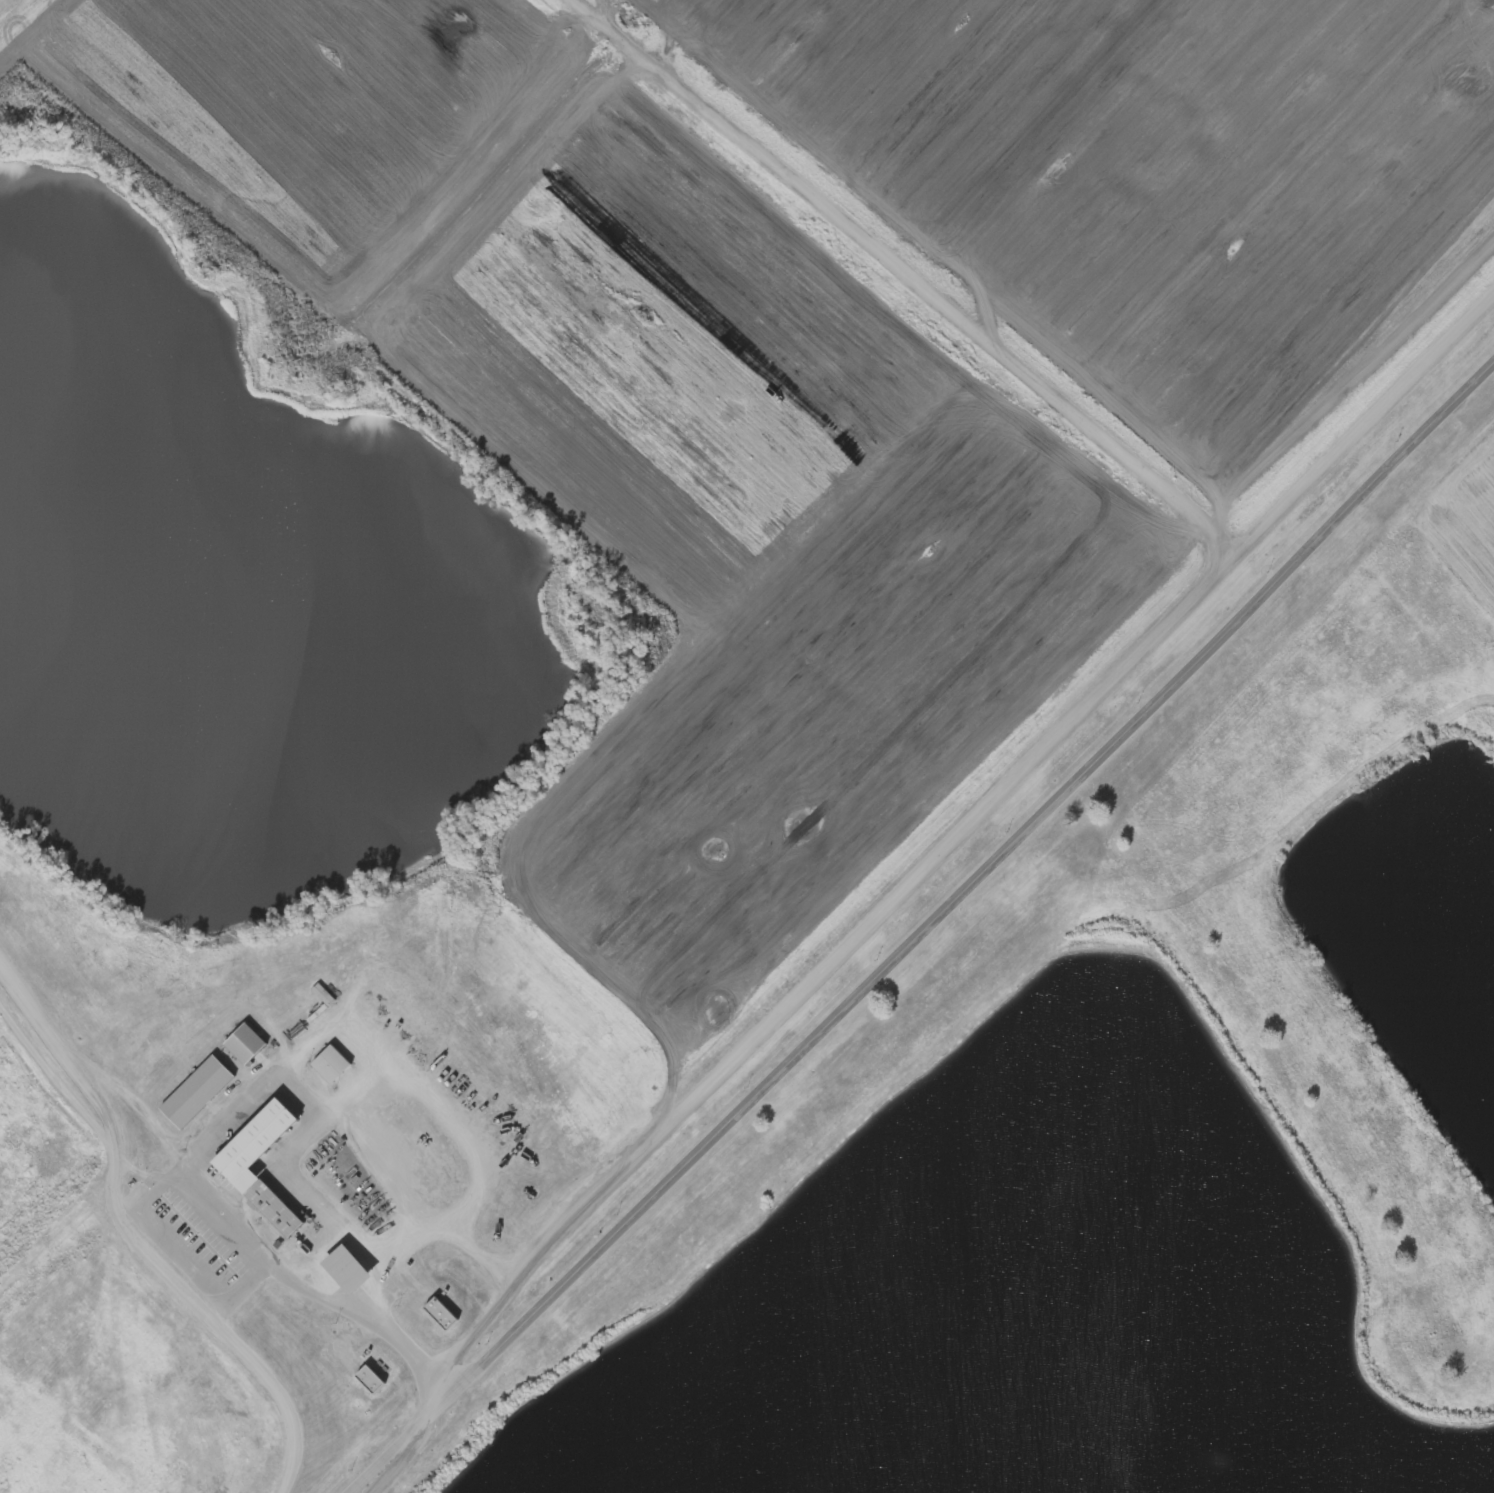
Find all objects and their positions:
road: (906, 271)
wastewater plant: (747, 746)
road: (997, 776)
road: (931, 935)
road: (62, 1042)
building: (248, 1042)
building: (232, 1044)
building: (335, 1061)
building: (318, 1064)
road: (263, 1086)
building: (199, 1090)
building: (237, 1164)
building: (334, 1270)
road: (210, 1310)
building: (444, 1312)
building: (428, 1313)
building: (372, 1379)
building: (357, 1380)

